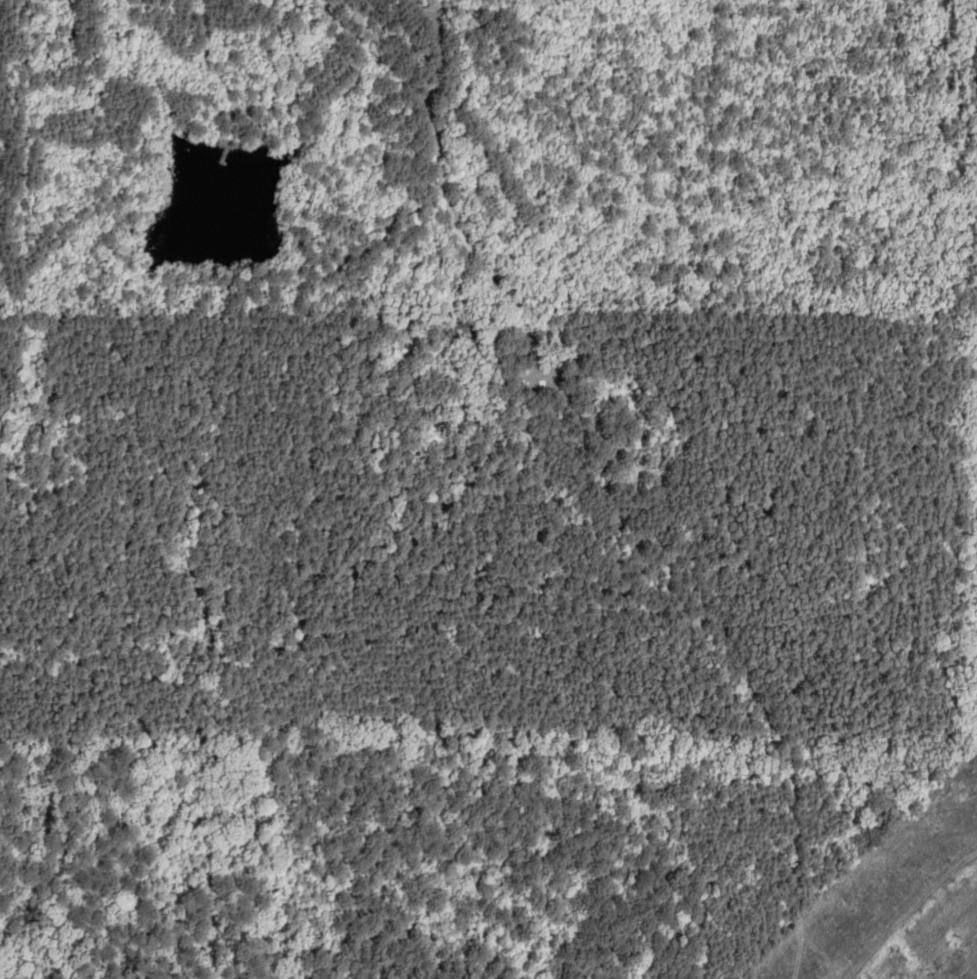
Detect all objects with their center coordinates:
road: (315, 34)

